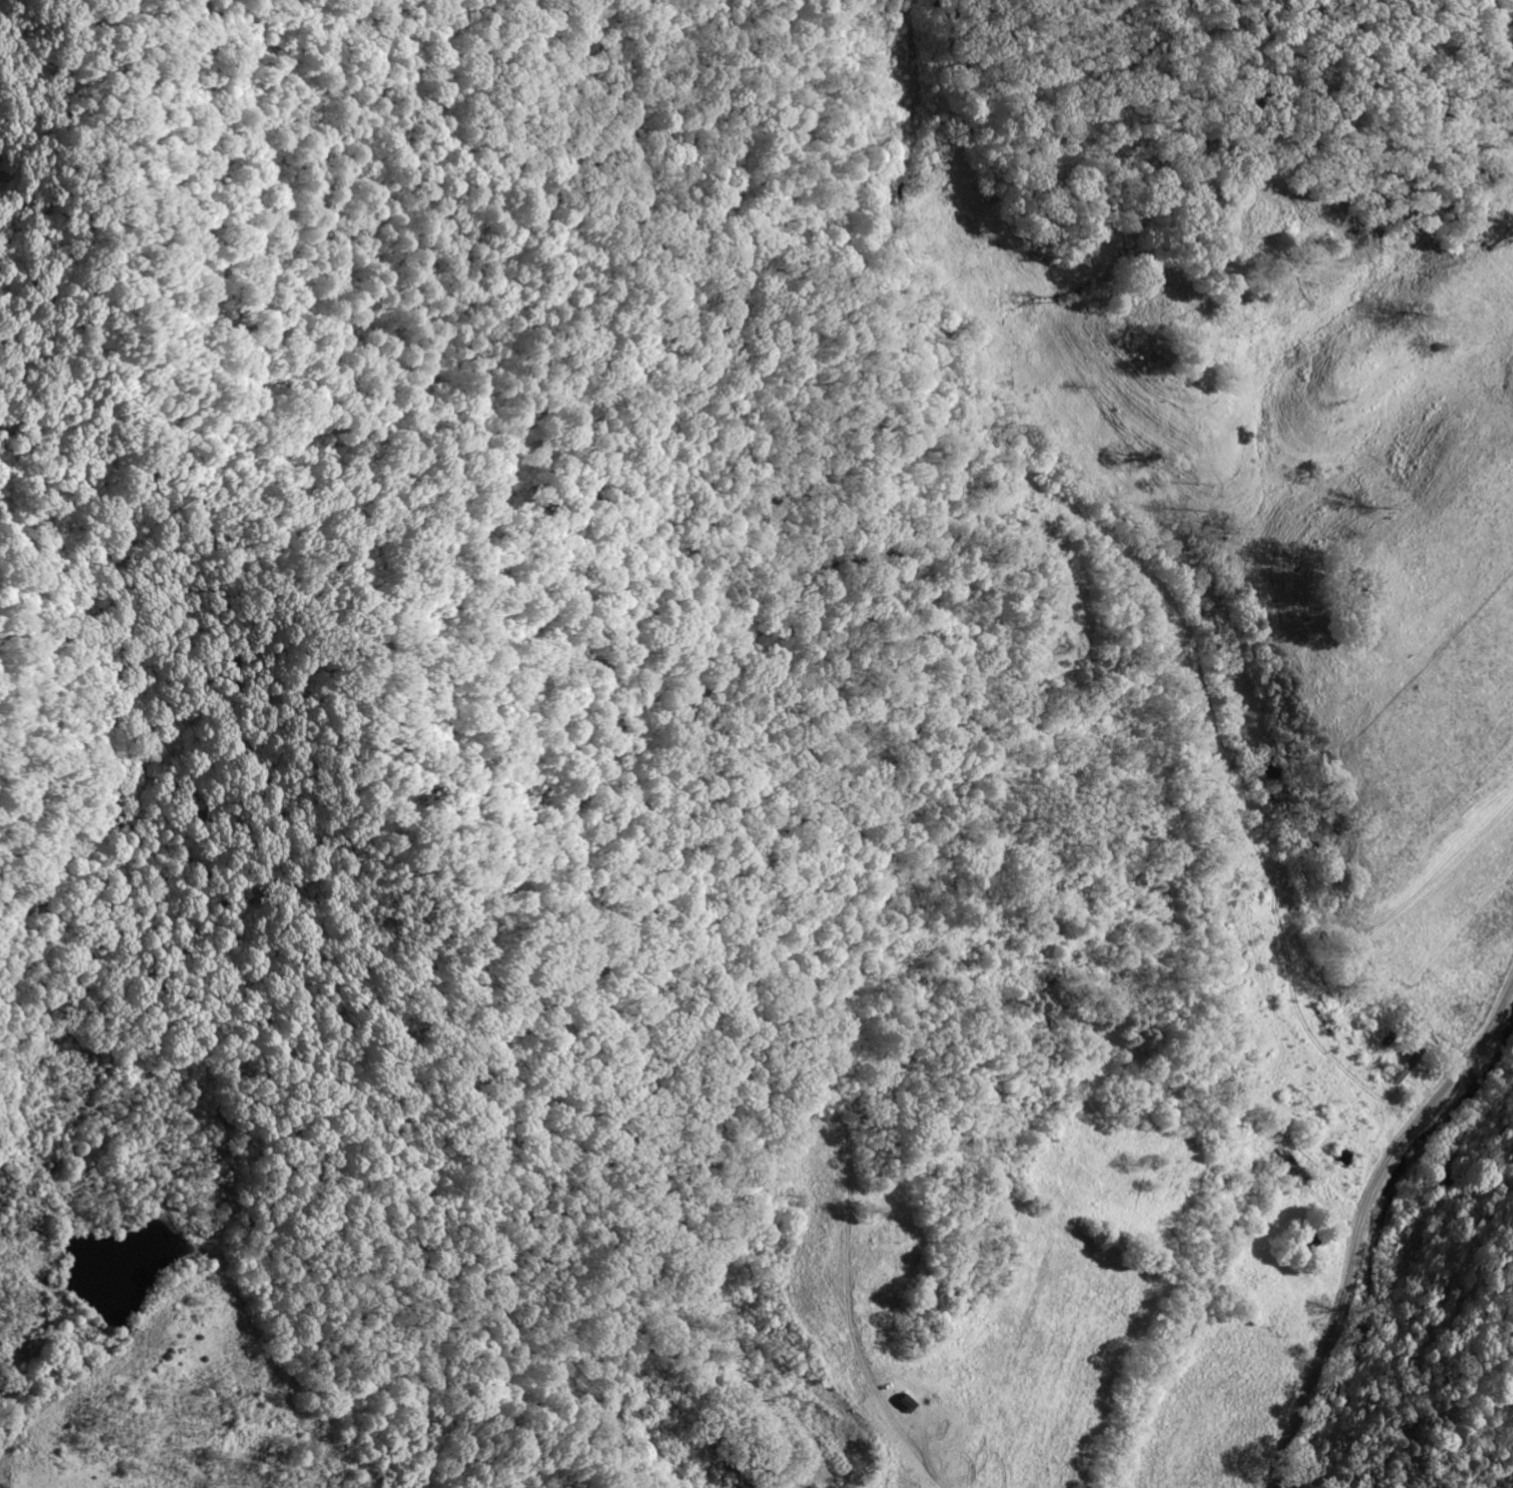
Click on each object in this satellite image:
road: (1361, 1218)

